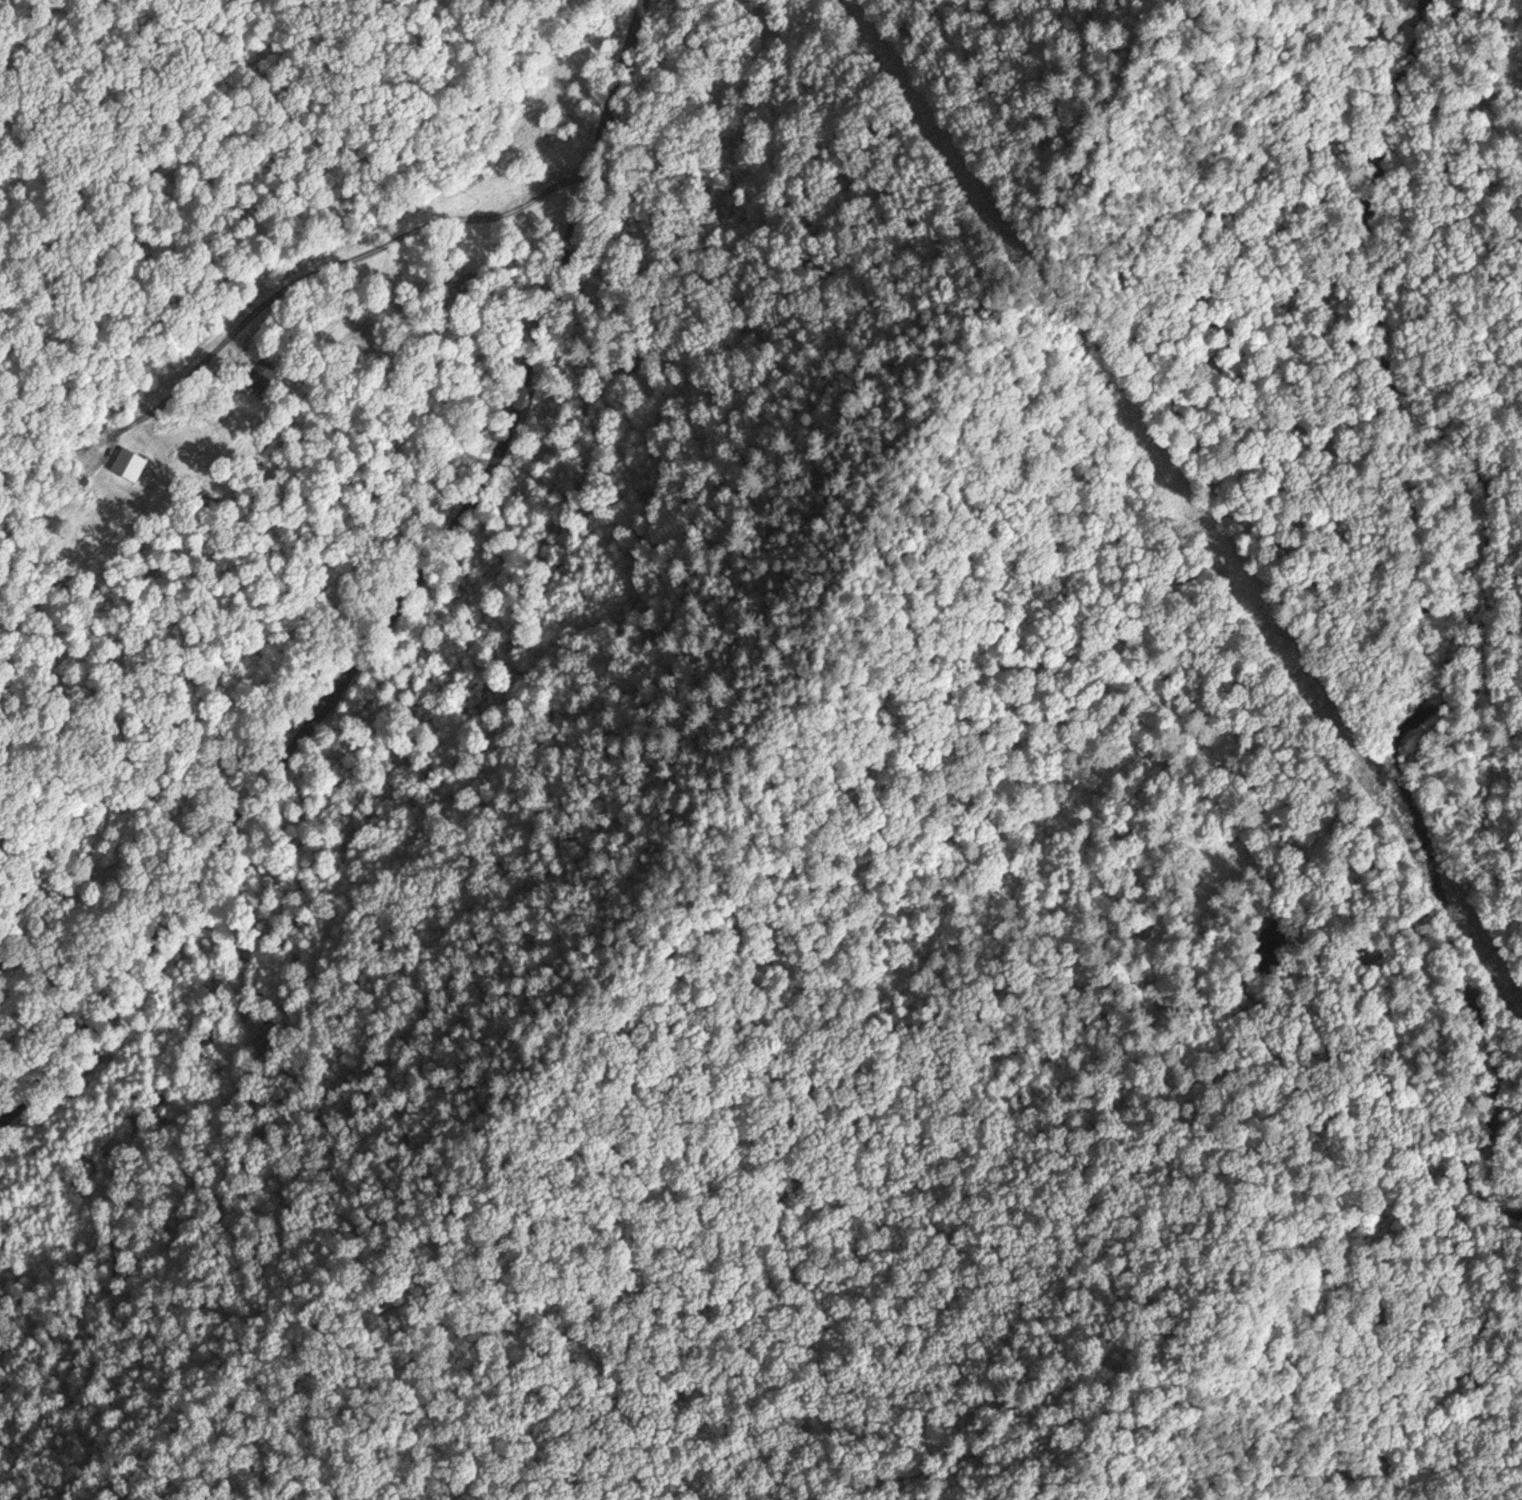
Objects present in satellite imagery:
road: (1483, 2)
building: (465, 283)
building: (259, 375)
building: (123, 465)
road: (399, 602)
road: (868, 783)
road: (1051, 1422)

